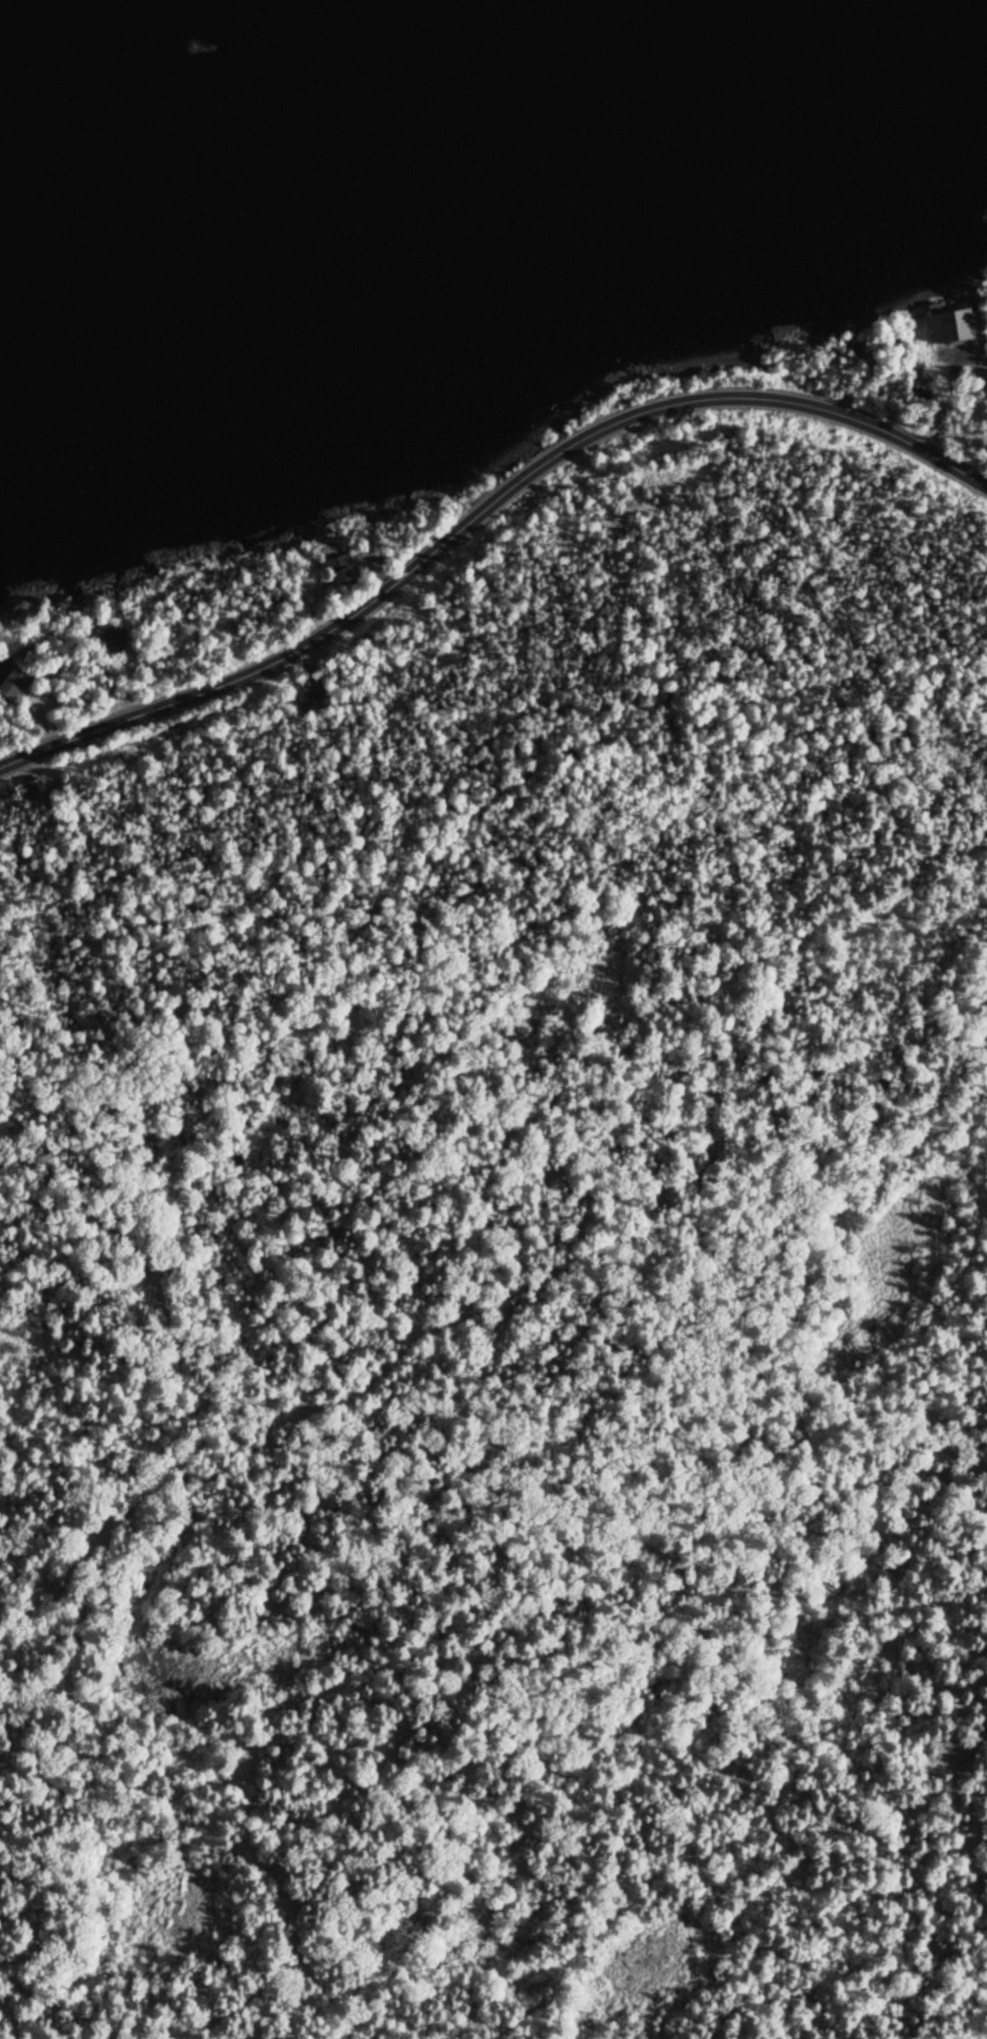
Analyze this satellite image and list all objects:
building: (959, 330)
road: (951, 399)
road: (488, 504)
building: (22, 686)

